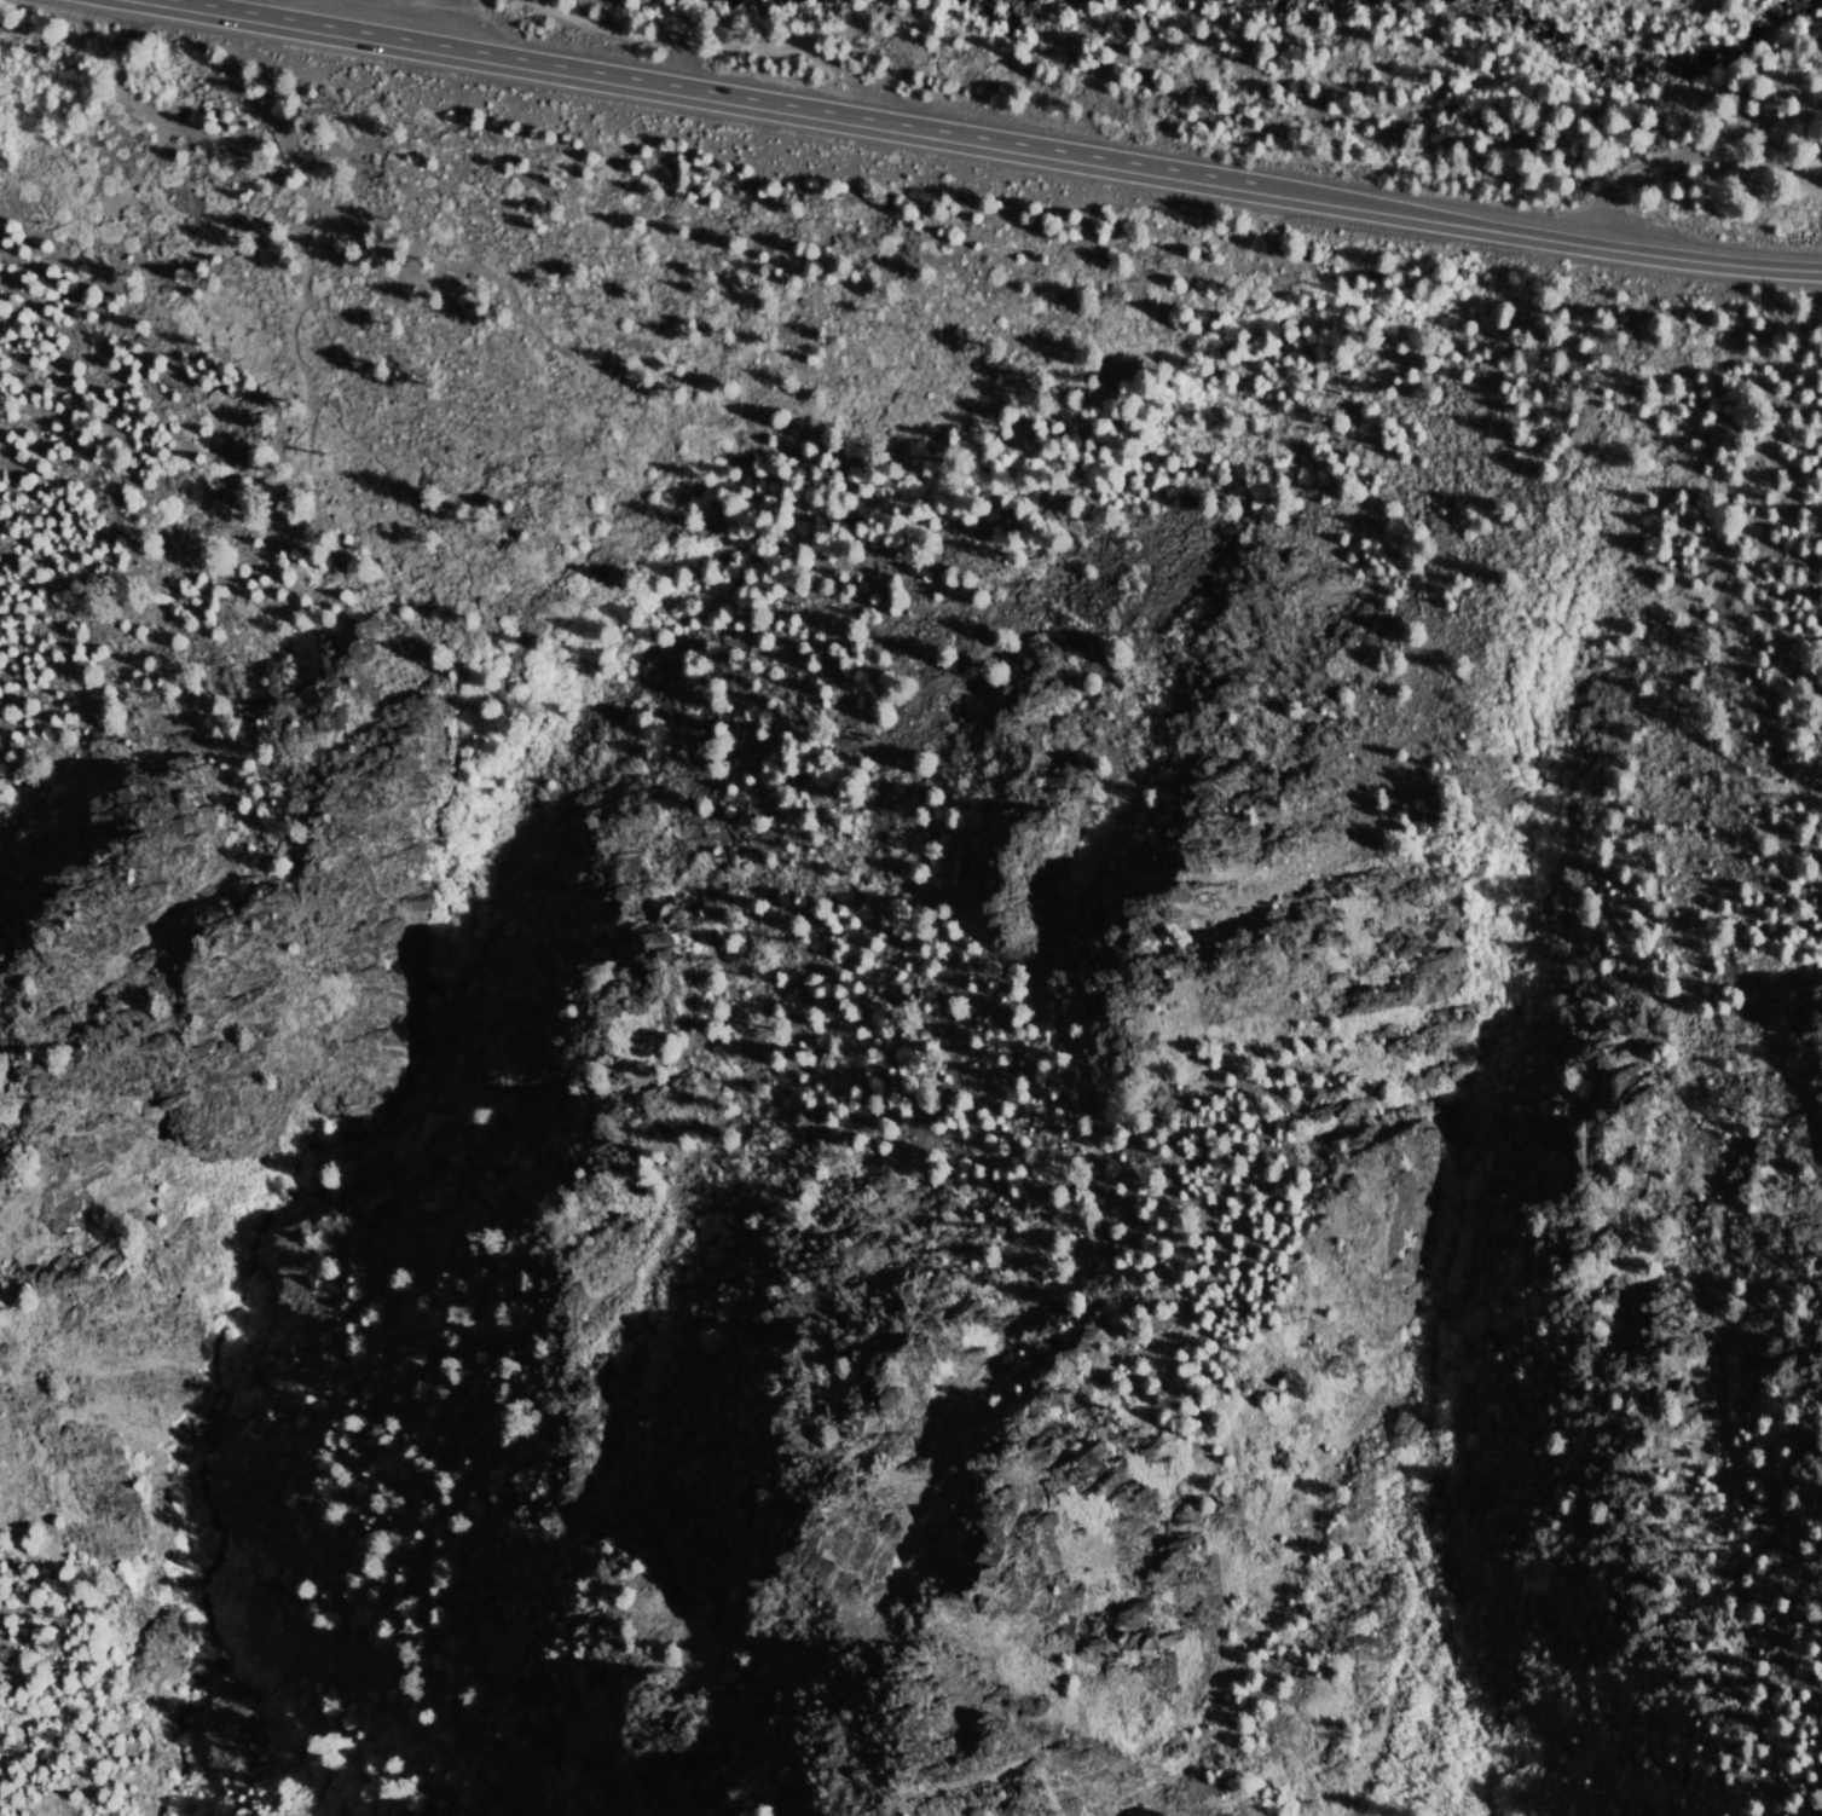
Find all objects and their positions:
parking lot: (413, 12)
river: (1072, 12)
road: (715, 44)
river: (1635, 65)
road: (704, 98)
road: (1683, 156)
road: (297, 191)
road: (1549, 238)
road: (295, 312)

